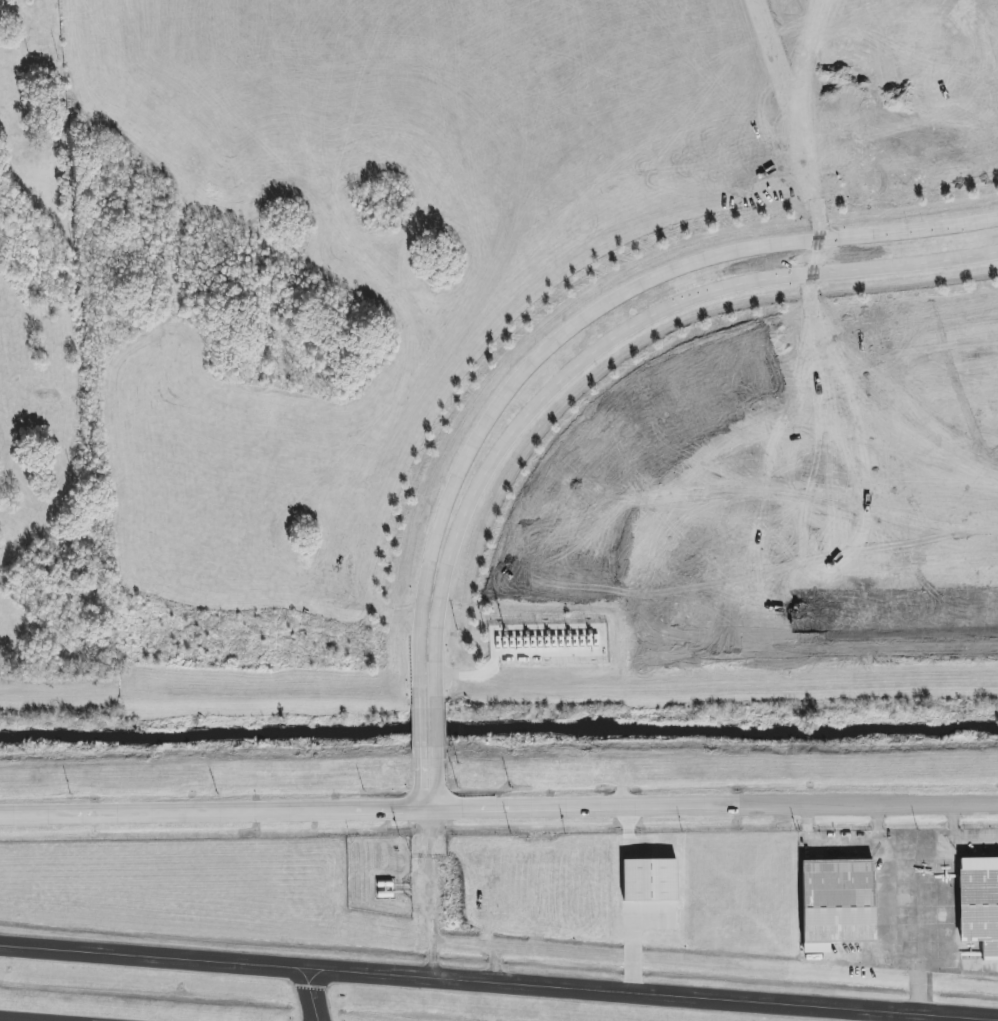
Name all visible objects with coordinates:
road: (577, 325)
road: (601, 349)
power plant: (549, 643)
road: (437, 727)
road: (420, 729)
road: (437, 778)
road: (420, 779)
road: (498, 809)
road: (430, 875)
building: (649, 879)
airport hangar: (835, 901)
building: (835, 901)
airport apron: (906, 904)
airport hangar: (978, 904)
building: (978, 904)
road: (499, 912)
airport: (505, 929)
road: (702, 964)
airport taxiway: (166, 970)
airport taxiway: (499, 971)
airport taxiway: (920, 985)
airport taxiway: (574, 999)
airport runway: (66, 1016)

